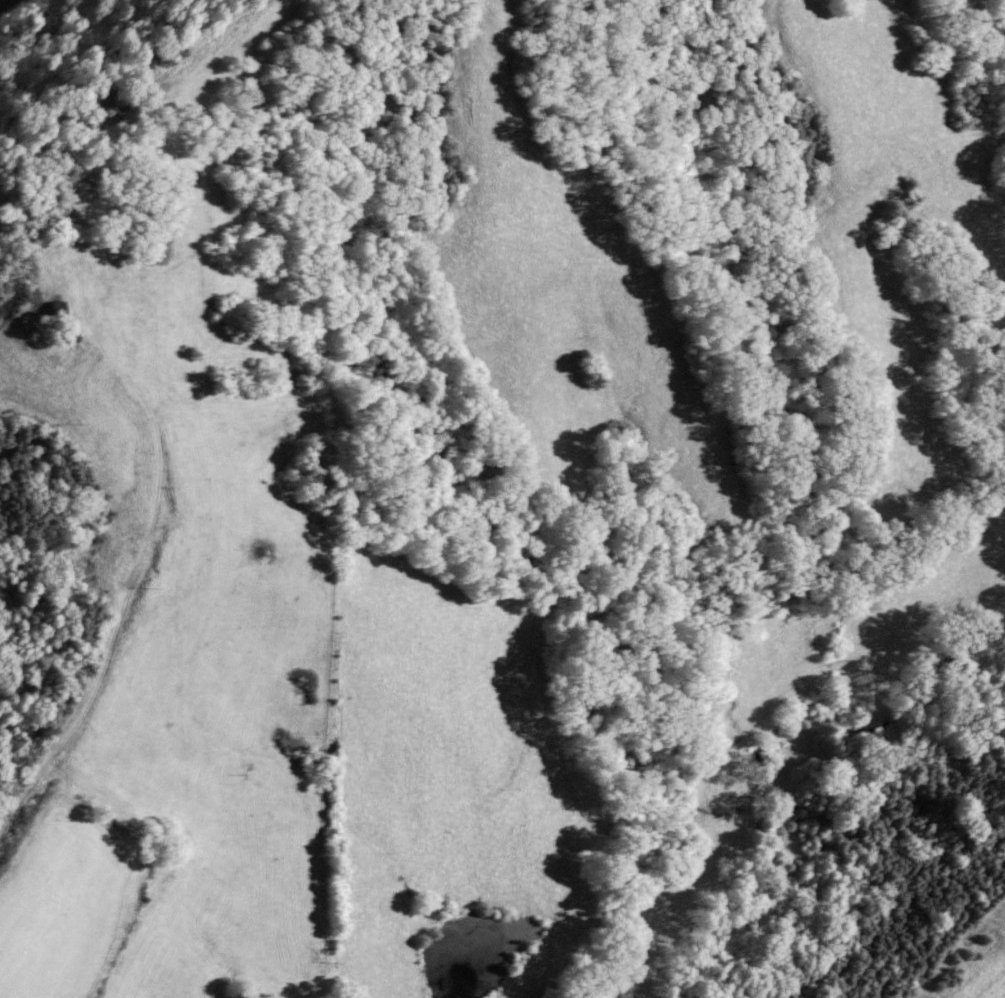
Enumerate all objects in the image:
railway: (0, 0)

